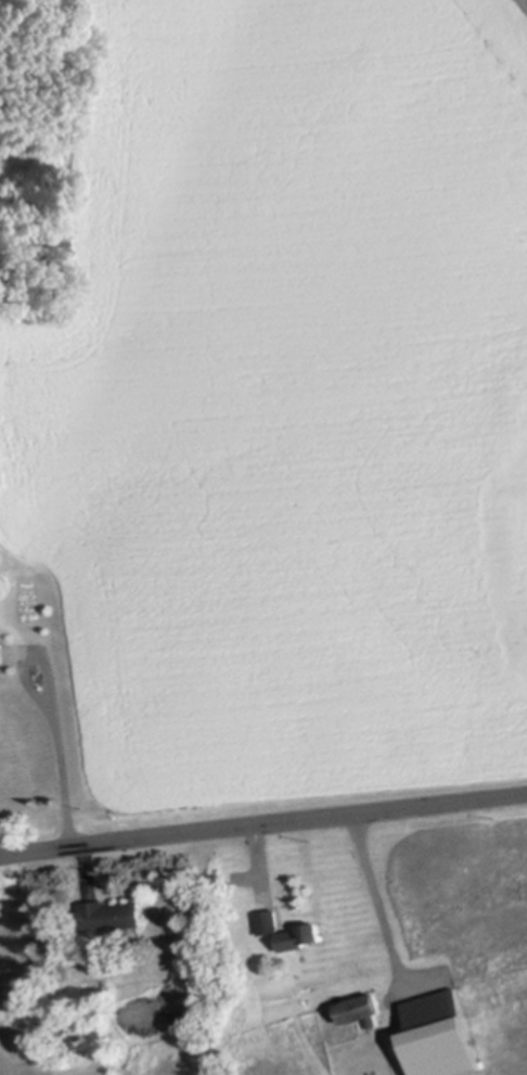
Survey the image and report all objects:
building: (2, 652)
road: (54, 711)
road: (262, 821)
road: (377, 896)
building: (114, 913)
building: (270, 920)
building: (304, 934)
building: (363, 1008)
building: (441, 1036)

